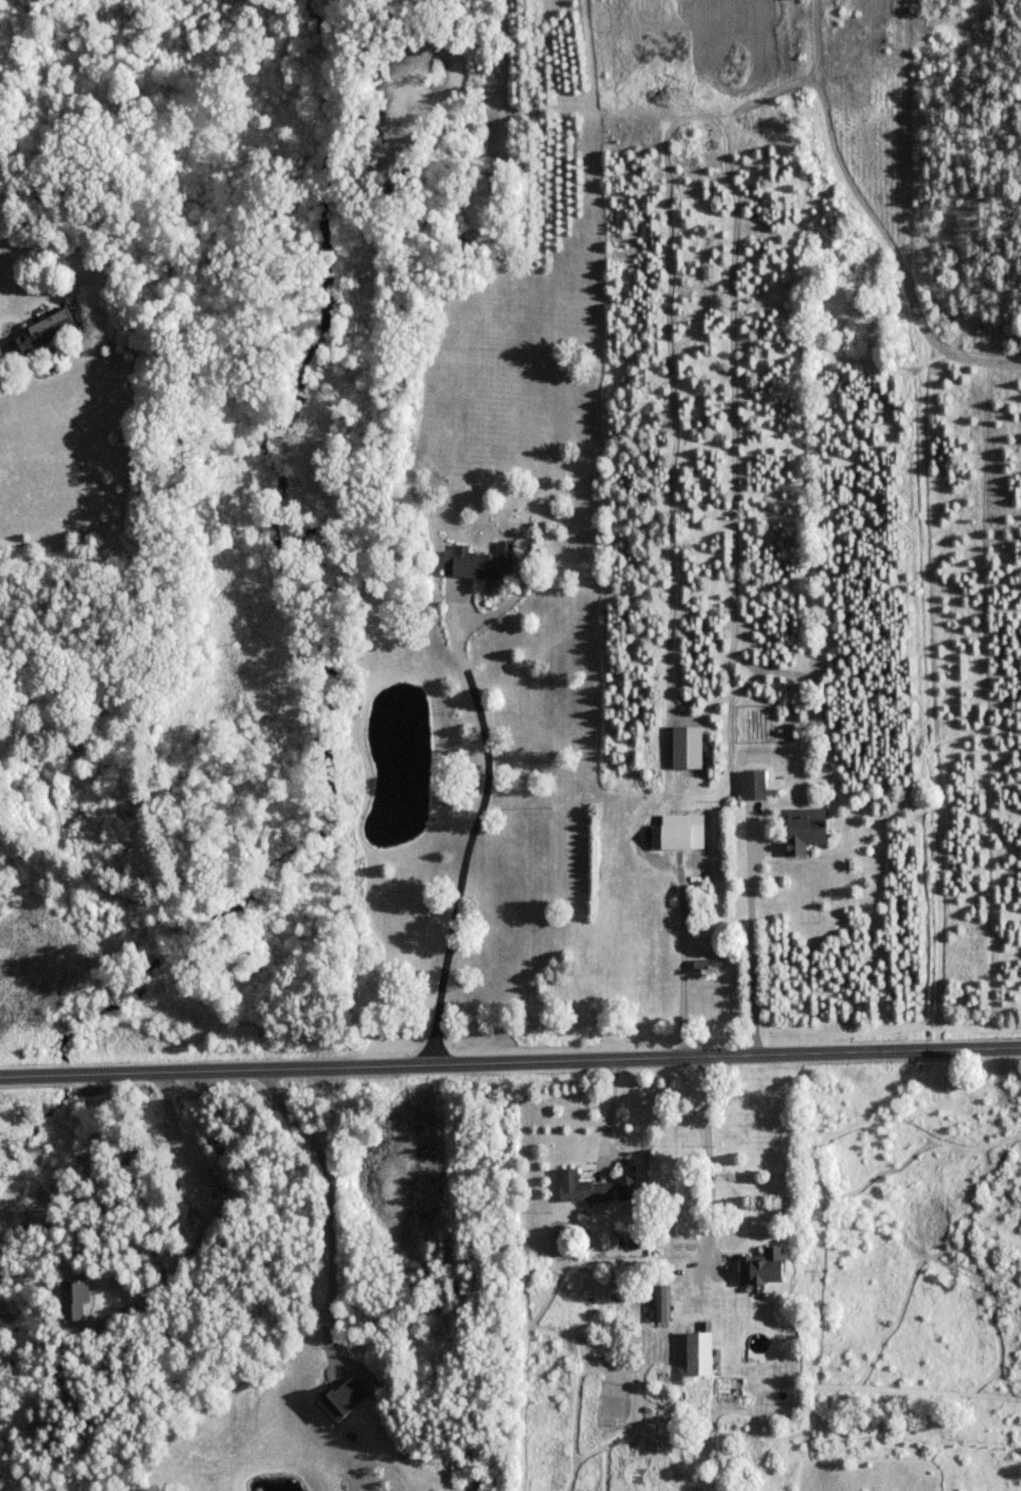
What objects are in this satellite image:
building: (48, 333)
building: (478, 562)
building: (757, 785)
road: (477, 827)
building: (683, 832)
building: (809, 834)
road: (751, 946)
road: (681, 961)
building: (706, 964)
road: (510, 1064)
road: (609, 1115)
road: (707, 1160)
building: (581, 1187)
building: (626, 1187)
building: (673, 1187)
road: (326, 1204)
building: (679, 1225)
road: (199, 1227)
building: (728, 1271)
building: (79, 1299)
building: (661, 1302)
building: (703, 1352)
building: (348, 1398)

